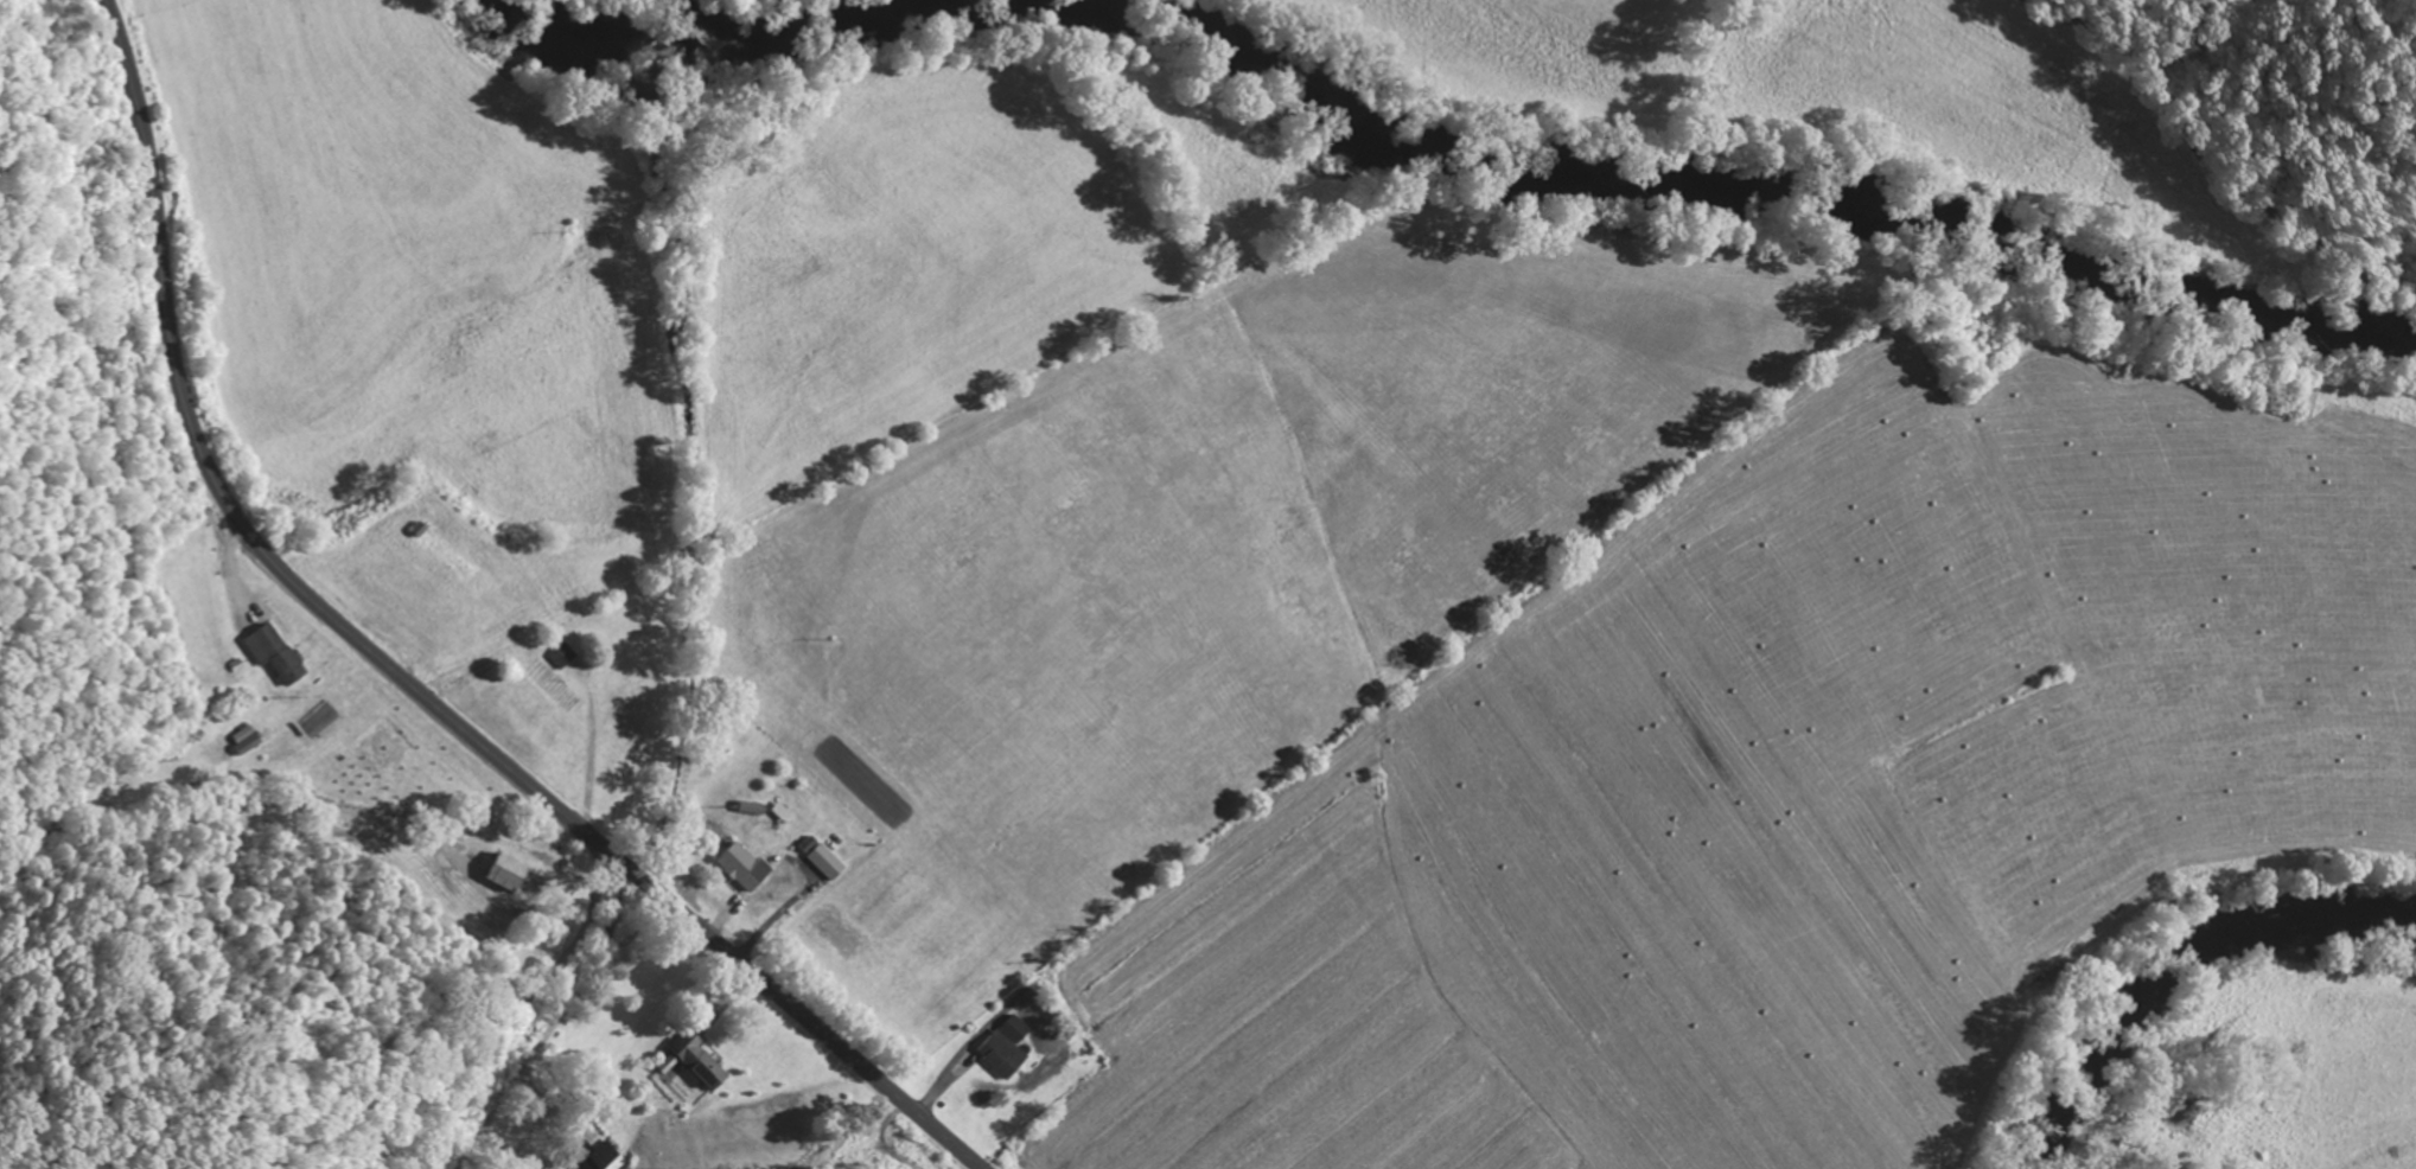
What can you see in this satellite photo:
river: (1445, 149)
road: (2213, 166)
building: (446, 558)
building: (273, 656)
building: (559, 659)
road: (399, 675)
building: (382, 752)
road: (278, 831)
building: (739, 870)
building: (505, 875)
river: (2174, 962)
building: (1006, 1050)
building: (696, 1065)
road: (816, 1117)
building: (582, 1136)
building: (600, 1160)

